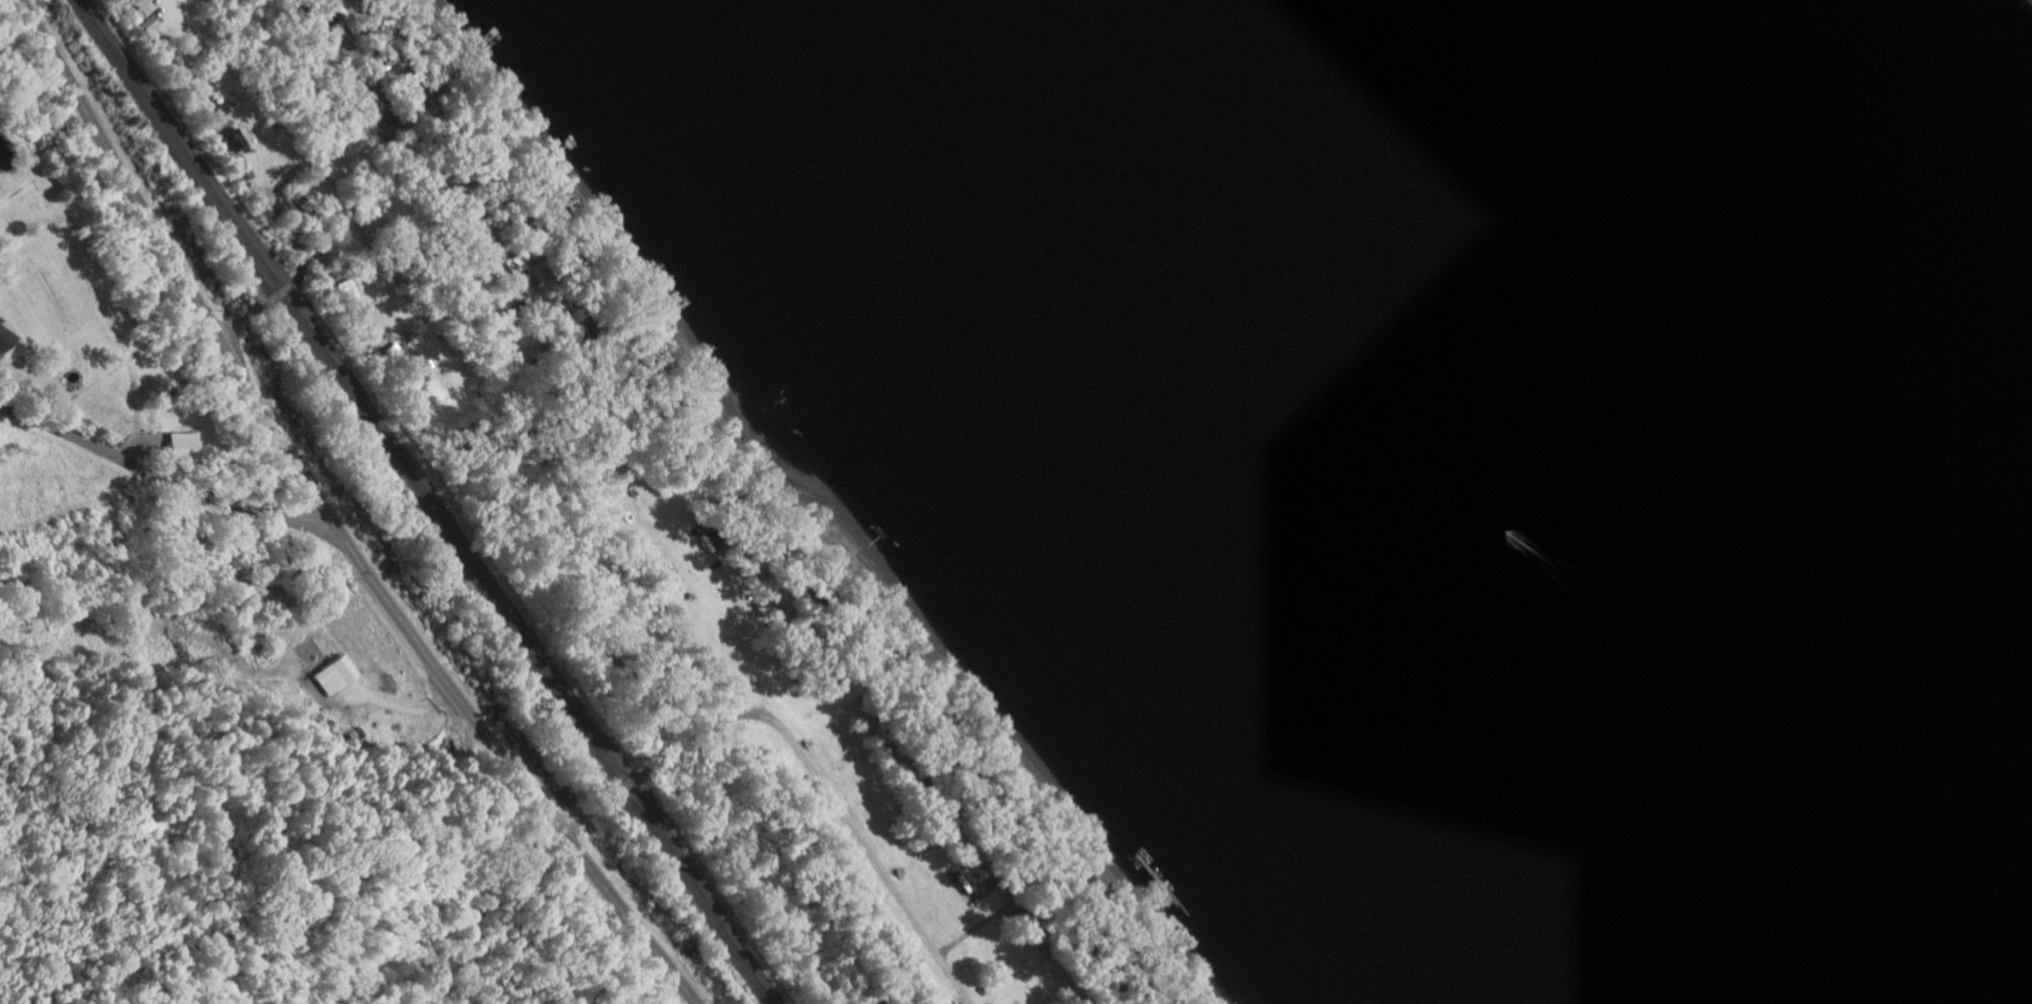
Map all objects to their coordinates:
road: (256, 79)
road: (342, 84)
road: (323, 173)
road: (160, 482)
railway: (421, 500)
road: (326, 519)
river: (1421, 523)
road: (801, 756)

